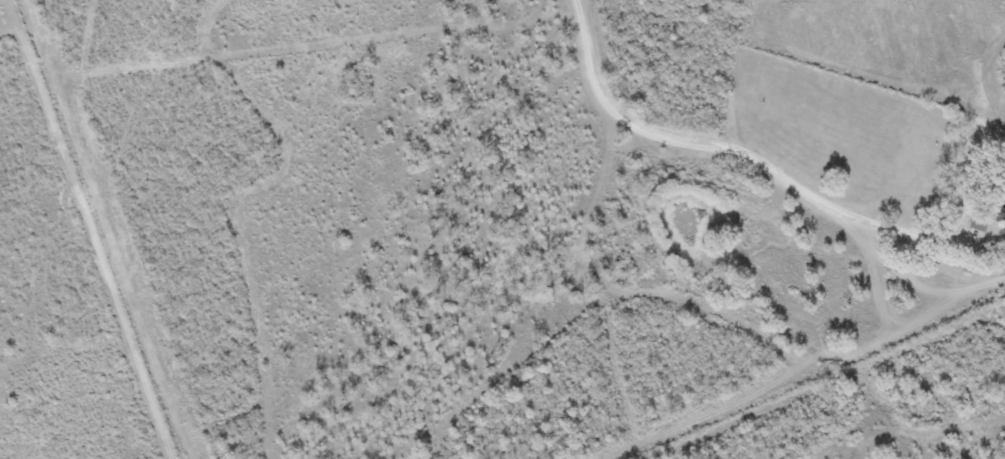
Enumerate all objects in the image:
building: (978, 220)

